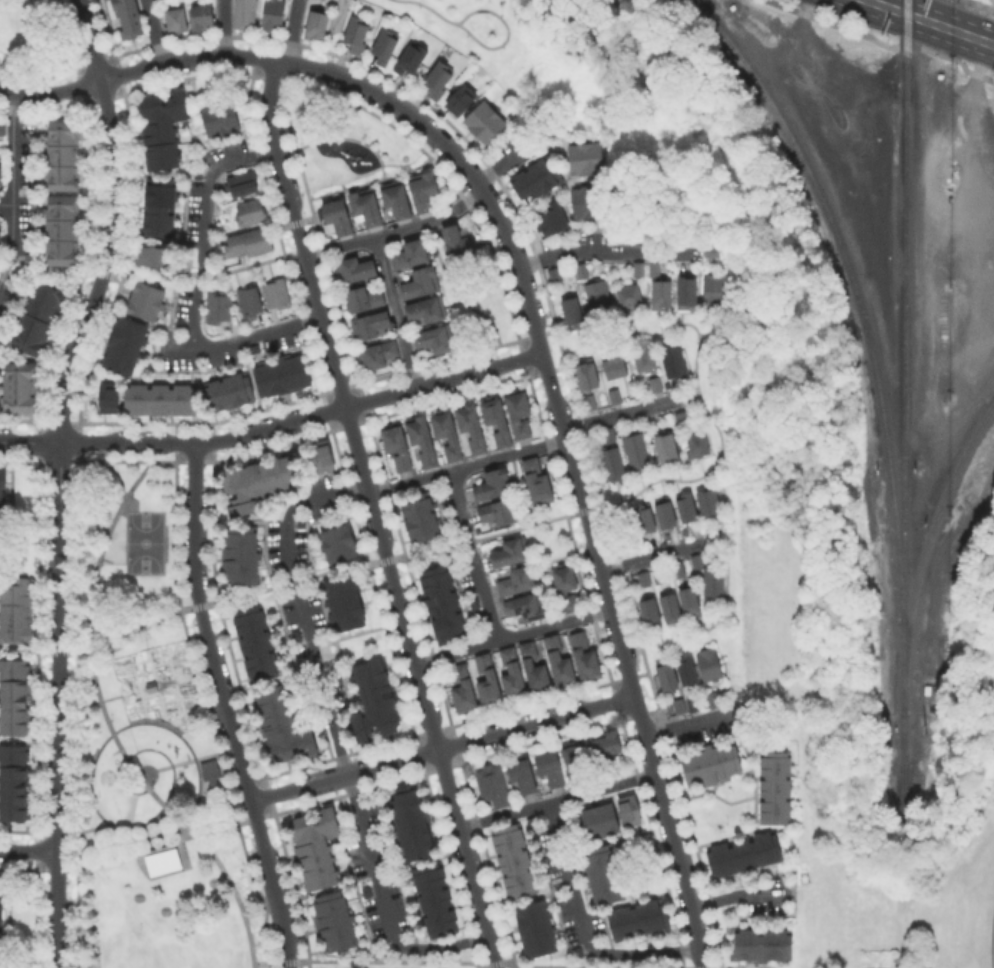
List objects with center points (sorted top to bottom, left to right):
road: (428, 7)
building: (245, 12)
building: (272, 13)
building: (199, 16)
building: (129, 18)
building: (174, 19)
building: (316, 19)
road: (933, 21)
road: (221, 27)
road: (290, 30)
road: (155, 31)
building: (358, 32)
road: (106, 33)
road: (328, 33)
road: (506, 33)
building: (386, 43)
road: (880, 43)
building: (409, 56)
road: (72, 68)
building: (438, 74)
road: (409, 91)
road: (49, 93)
building: (458, 98)
road: (391, 101)
building: (217, 117)
building: (482, 119)
building: (159, 126)
building: (2, 128)
park: (344, 137)
road: (324, 138)
park: (2, 146)
road: (6, 150)
road: (286, 152)
building: (60, 154)
building: (584, 157)
road: (504, 162)
building: (1, 164)
building: (533, 177)
building: (243, 182)
road: (12, 188)
building: (423, 188)
building: (396, 196)
building: (579, 200)
road: (6, 204)
building: (366, 204)
building: (156, 206)
building: (251, 211)
building: (337, 213)
building: (549, 217)
road: (112, 223)
road: (203, 225)
building: (59, 228)
road: (396, 230)
building: (456, 237)
building: (1, 238)
building: (248, 240)
building: (714, 248)
building: (411, 250)
road: (606, 250)
building: (150, 254)
road: (258, 263)
building: (356, 266)
building: (640, 268)
building: (652, 268)
building: (581, 269)
building: (554, 274)
building: (421, 280)
building: (661, 286)
building: (689, 289)
building: (715, 289)
building: (598, 292)
building: (276, 293)
building: (631, 293)
building: (364, 295)
building: (143, 299)
building: (248, 299)
railway: (858, 300)
building: (217, 305)
building: (426, 306)
building: (572, 307)
road: (396, 312)
building: (35, 316)
railway: (903, 320)
building: (372, 321)
building: (436, 336)
road: (242, 339)
building: (123, 344)
building: (380, 352)
building: (645, 355)
building: (673, 356)
building: (616, 364)
building: (280, 371)
building: (588, 373)
building: (657, 384)
building: (16, 385)
building: (229, 388)
building: (105, 395)
building: (615, 395)
building: (158, 397)
road: (688, 400)
building: (590, 401)
building: (520, 412)
road: (620, 414)
building: (680, 417)
road: (304, 418)
building: (497, 419)
building: (472, 425)
building: (447, 432)
building: (608, 435)
building: (422, 438)
building: (697, 440)
road: (30, 442)
building: (397, 445)
building: (665, 446)
building: (636, 452)
building: (320, 454)
building: (609, 461)
road: (99, 462)
road: (467, 465)
building: (538, 480)
building: (255, 481)
building: (1, 482)
building: (494, 482)
building: (707, 500)
building: (685, 506)
building: (498, 510)
road: (374, 512)
building: (664, 512)
building: (421, 517)
building: (644, 517)
road: (510, 530)
building: (715, 537)
park: (143, 541)
building: (336, 541)
building: (511, 550)
railway: (924, 550)
building: (239, 553)
road: (473, 554)
road: (651, 556)
building: (696, 561)
building: (678, 570)
building: (658, 576)
building: (518, 579)
building: (644, 579)
building: (713, 584)
building: (567, 587)
building: (345, 600)
building: (689, 601)
building: (444, 602)
building: (526, 605)
building: (669, 606)
building: (14, 608)
building: (649, 613)
road: (512, 634)
building: (253, 641)
building: (585, 656)
road: (625, 660)
building: (560, 661)
building: (708, 664)
building: (535, 666)
building: (686, 671)
building: (513, 673)
building: (666, 676)
building: (488, 679)
building: (149, 685)
building: (463, 689)
building: (375, 694)
building: (14, 695)
building: (714, 699)
building: (693, 703)
road: (58, 705)
road: (79, 705)
building: (679, 706)
road: (225, 707)
road: (704, 719)
road: (108, 720)
building: (280, 725)
railway: (901, 731)
road: (335, 735)
park: (150, 742)
road: (442, 745)
building: (607, 749)
road: (192, 759)
building: (576, 760)
building: (709, 762)
building: (551, 767)
building: (208, 769)
building: (522, 772)
building: (14, 781)
building: (773, 785)
building: (493, 786)
road: (558, 800)
road: (94, 808)
building: (627, 808)
building: (598, 819)
building: (408, 822)
road: (83, 831)
building: (314, 846)
road: (157, 847)
road: (28, 850)
building: (741, 852)
building: (512, 859)
building: (161, 861)
building: (600, 874)
road: (738, 894)
building: (432, 898)
building: (636, 918)
building: (333, 919)
building: (534, 926)
road: (584, 928)
building: (758, 943)
road: (485, 965)
road: (495, 966)
road: (750, 966)

